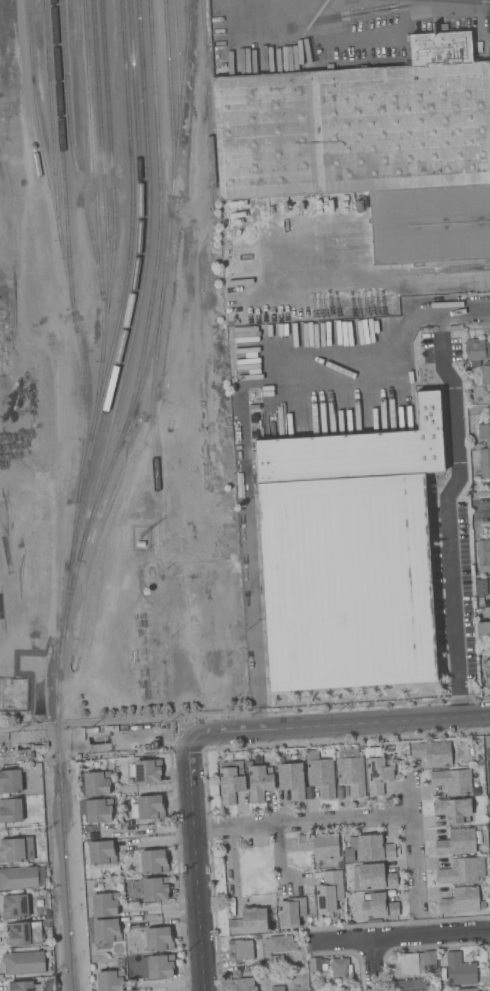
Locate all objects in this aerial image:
road: (286, 5)
railway: (188, 29)
railway: (180, 69)
railway: (172, 96)
railway: (210, 103)
railway: (53, 119)
building: (372, 145)
railway: (74, 148)
railway: (65, 154)
railway: (104, 155)
railway: (97, 180)
railway: (162, 218)
railway: (116, 220)
railway: (132, 254)
railway: (167, 274)
road: (427, 274)
railway: (136, 285)
road: (476, 311)
railway: (76, 316)
railway: (137, 321)
road: (399, 331)
building: (477, 349)
building: (476, 363)
building: (485, 373)
railway: (127, 424)
building: (484, 450)
road: (447, 503)
road: (485, 509)
building: (348, 555)
building: (483, 555)
building: (481, 587)
building: (483, 629)
building: (487, 673)
road: (245, 732)
building: (487, 745)
building: (433, 752)
building: (147, 770)
building: (352, 771)
building: (377, 771)
building: (321, 773)
building: (291, 779)
building: (488, 779)
building: (10, 780)
building: (230, 780)
building: (453, 780)
building: (259, 781)
building: (97, 783)
building: (150, 807)
building: (10, 809)
building: (96, 809)
building: (453, 809)
railway: (61, 813)
road: (304, 823)
building: (13, 824)
road: (153, 830)
building: (489, 841)
road: (415, 842)
building: (456, 842)
building: (320, 844)
building: (369, 848)
building: (16, 849)
building: (101, 852)
building: (153, 861)
road: (197, 863)
building: (462, 870)
building: (373, 876)
building: (22, 877)
building: (96, 883)
building: (131, 888)
building: (155, 888)
building: (329, 891)
building: (462, 900)
building: (105, 904)
building: (15, 906)
building: (378, 906)
building: (291, 911)
building: (249, 921)
building: (46, 923)
building: (106, 930)
building: (23, 933)
road: (400, 937)
building: (158, 939)
building: (280, 943)
building: (241, 949)
building: (277, 960)
building: (24, 962)
building: (415, 962)
building: (316, 963)
road: (377, 965)
building: (157, 966)
building: (341, 969)
building: (460, 969)
building: (110, 980)
building: (411, 983)
building: (245, 984)
building: (21, 986)
building: (315, 987)
building: (278, 988)
building: (467, 989)

